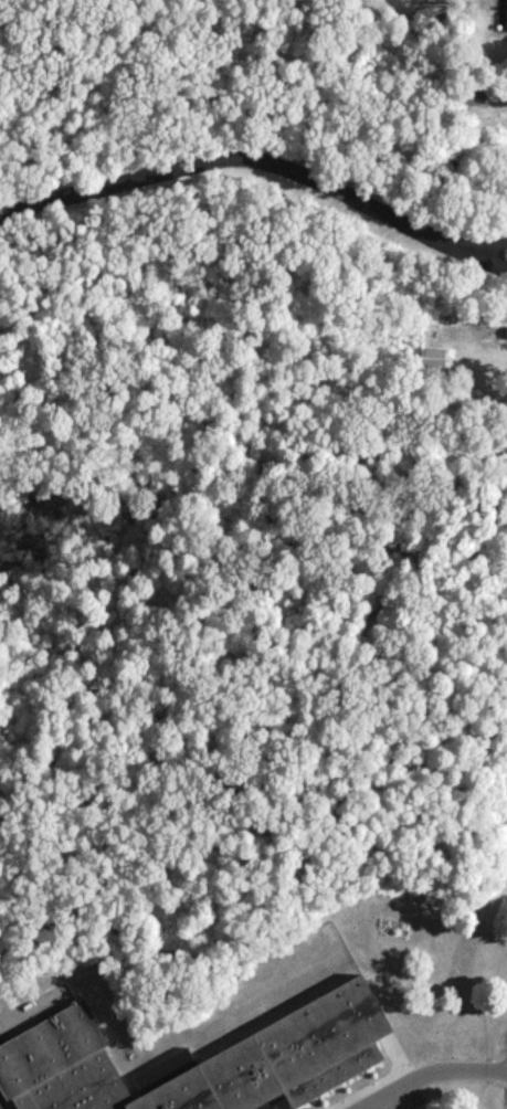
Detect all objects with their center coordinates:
building: (506, 12)
road: (243, 168)
road: (492, 246)
road: (490, 263)
building: (432, 359)
road: (30, 1020)
building: (324, 1039)
road: (430, 1071)

